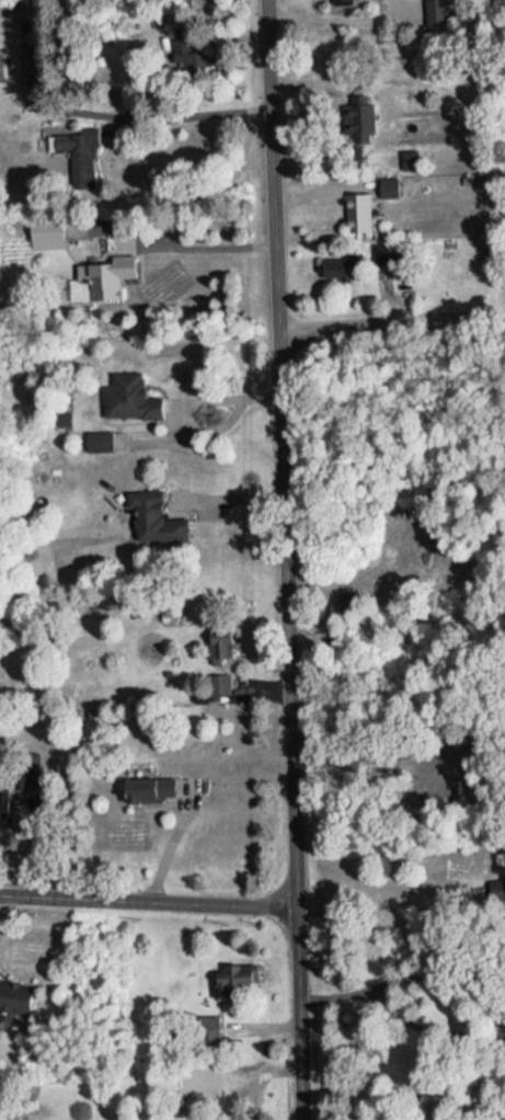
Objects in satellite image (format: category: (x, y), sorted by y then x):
road: (334, 21)
building: (27, 56)
building: (354, 113)
road: (167, 119)
building: (356, 205)
road: (200, 244)
building: (332, 262)
building: (104, 267)
road: (390, 325)
building: (127, 391)
road: (226, 499)
building: (148, 507)
road: (284, 559)
building: (216, 676)
building: (147, 782)
building: (2, 797)
road: (164, 847)
road: (147, 908)
road: (383, 924)
building: (236, 967)
building: (13, 990)

